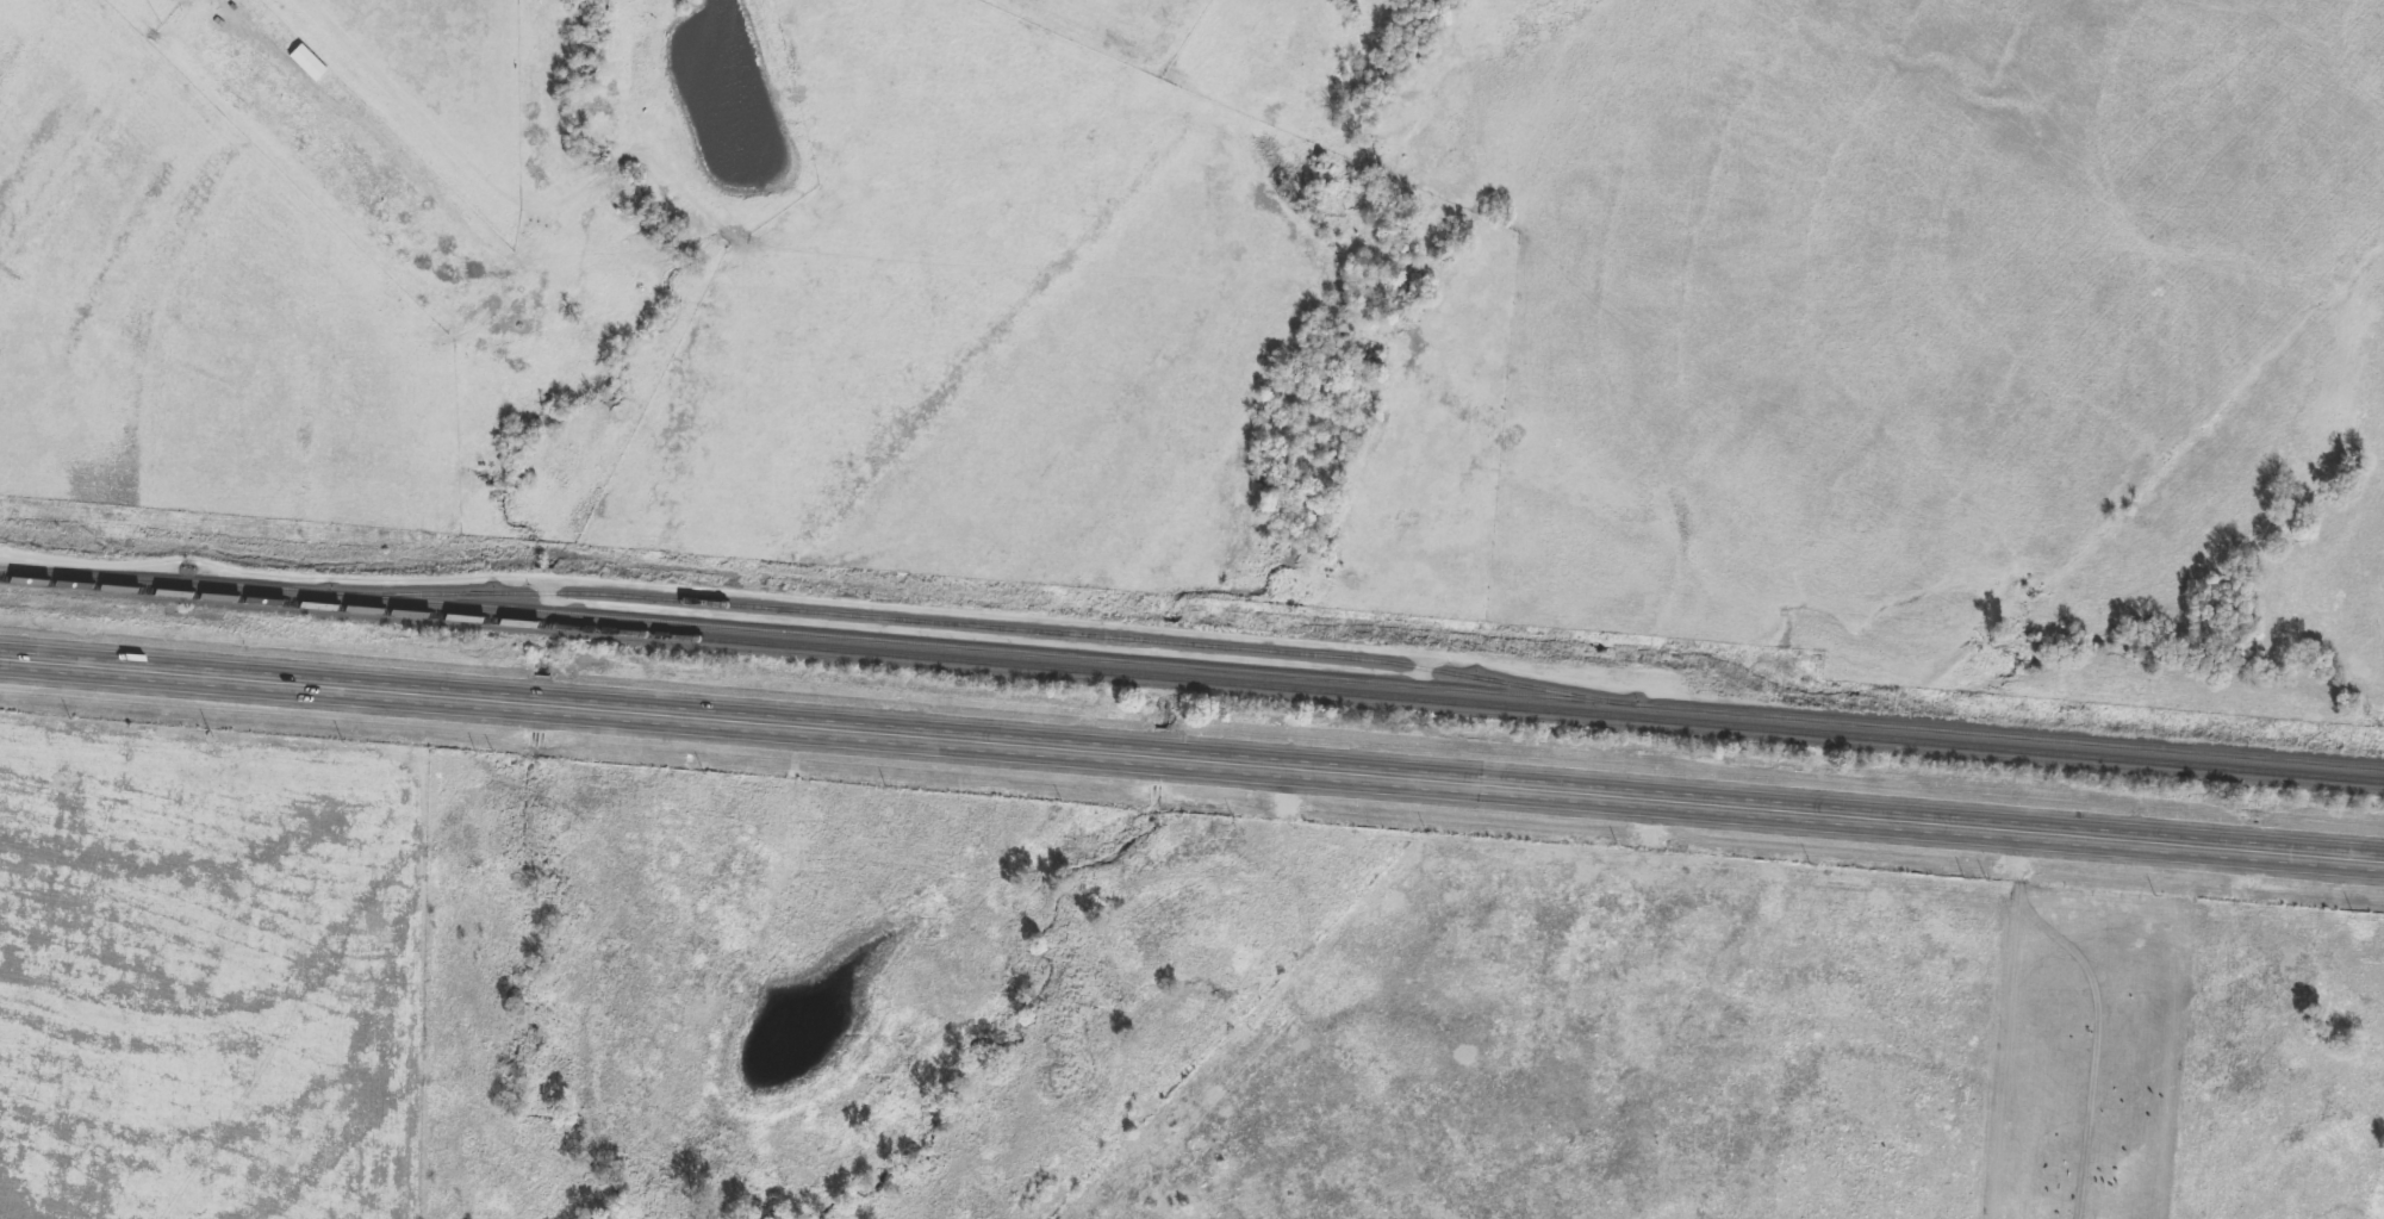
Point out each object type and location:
railway: (984, 623)
railway: (1191, 665)
railway: (1191, 679)
road: (1191, 766)

